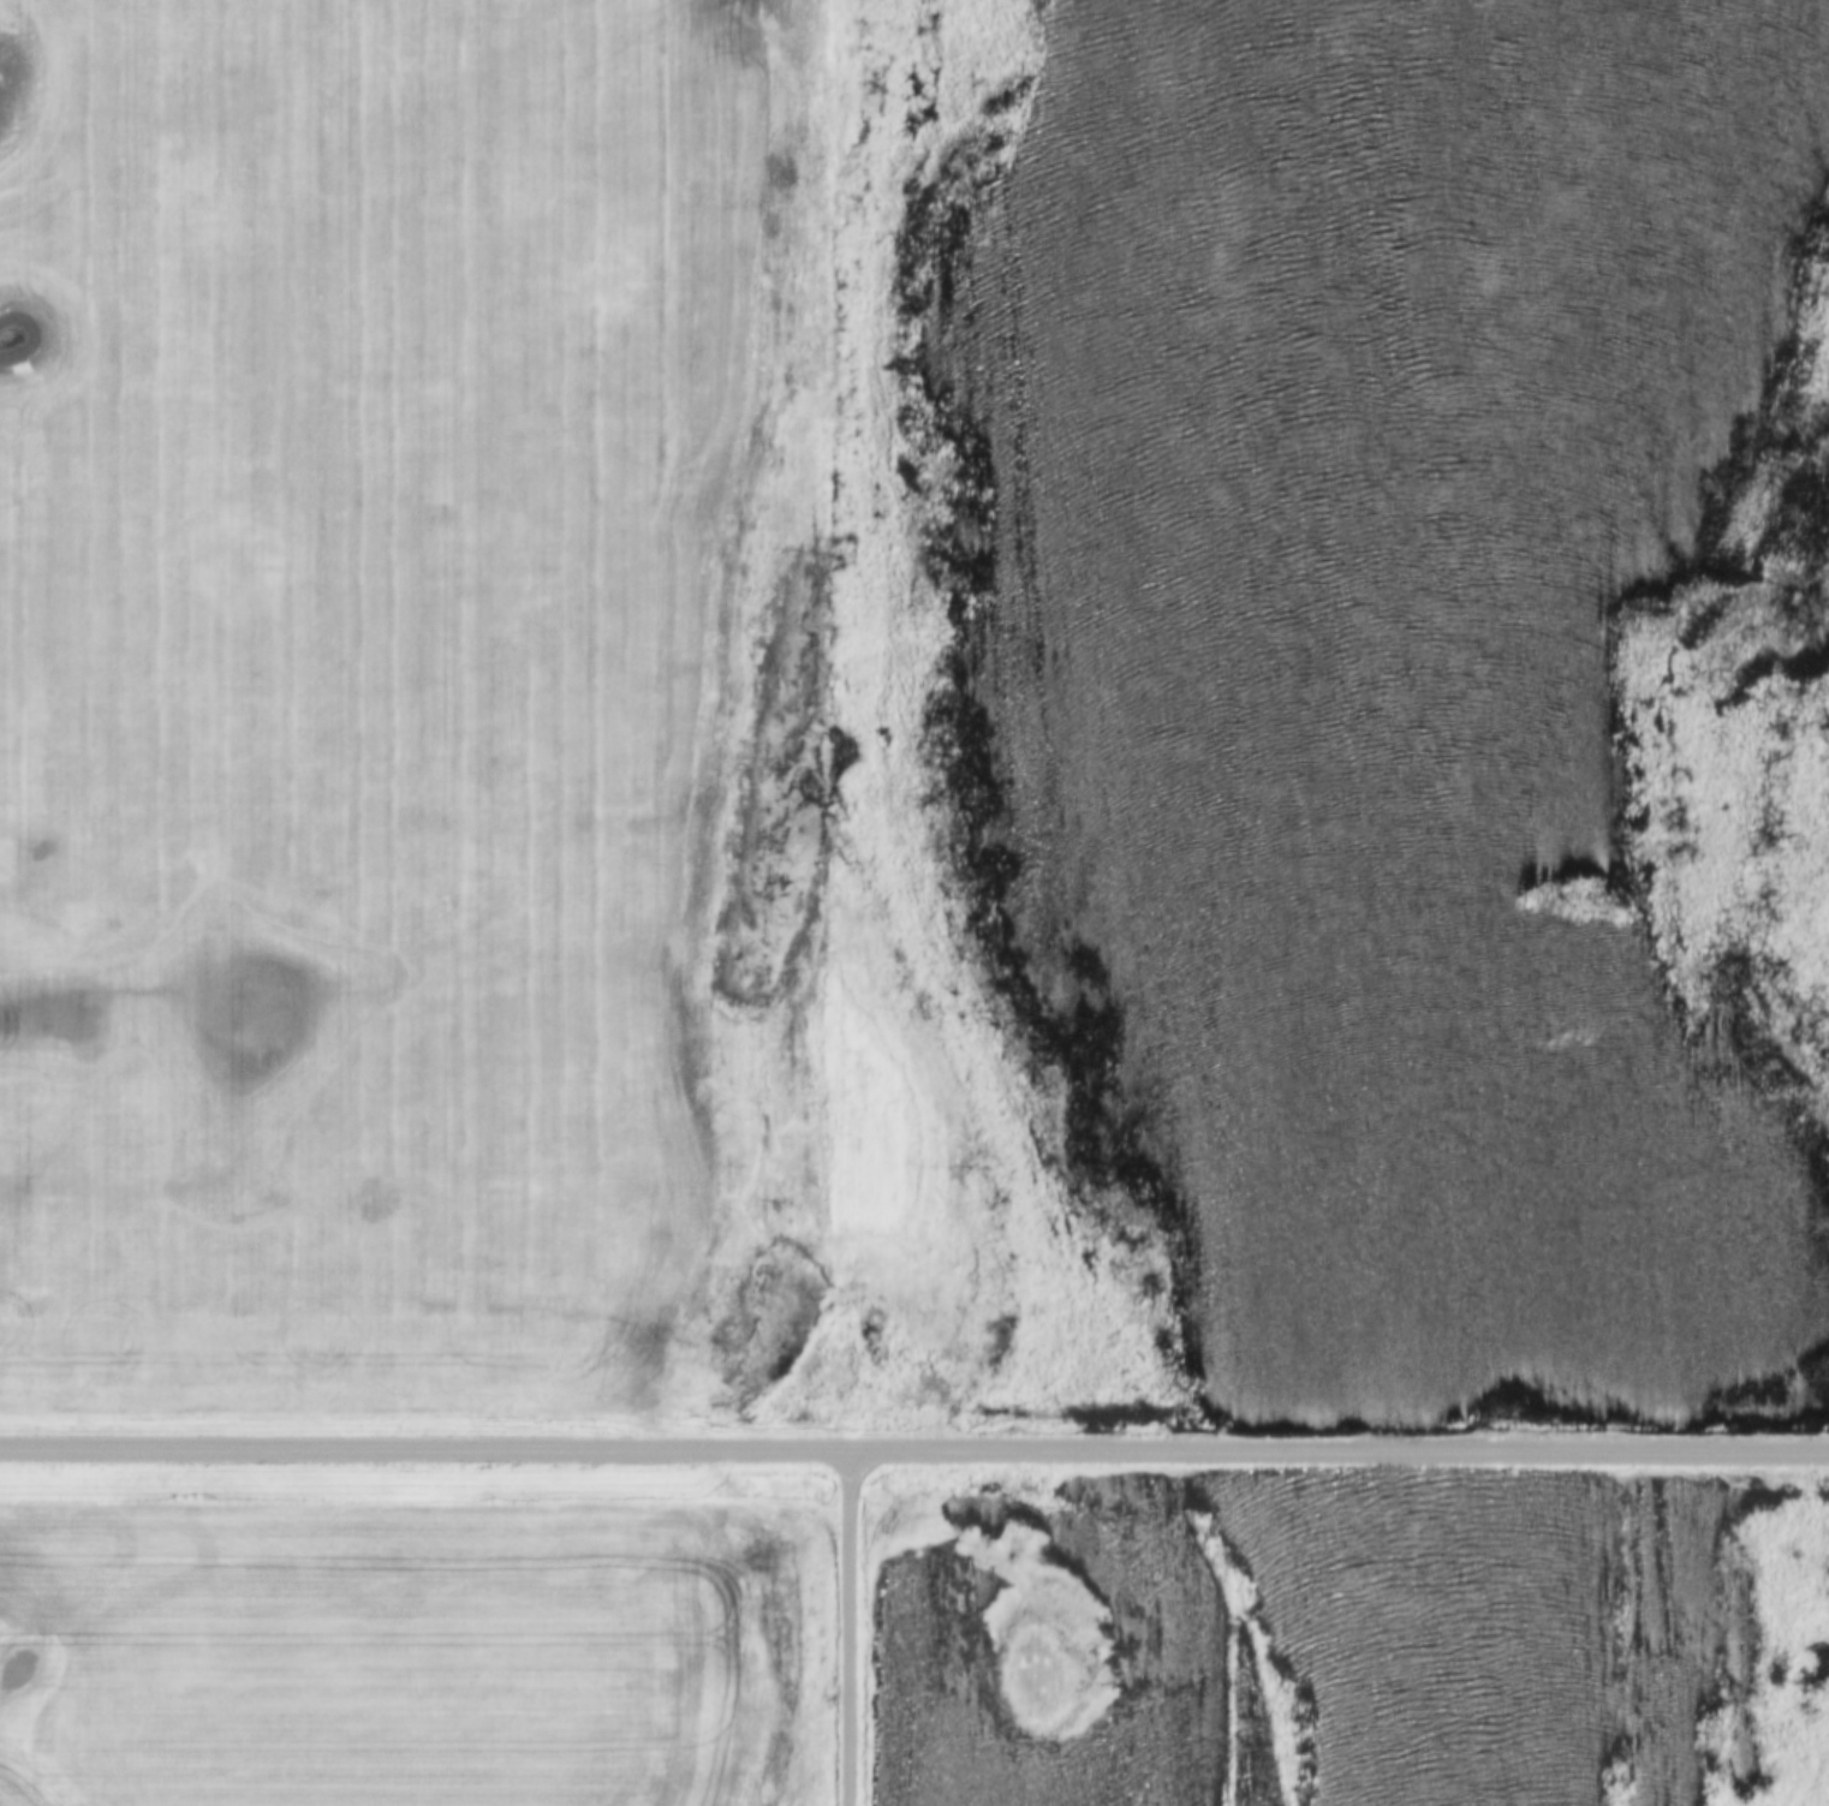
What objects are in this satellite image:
road: (914, 1450)
road: (848, 1628)

